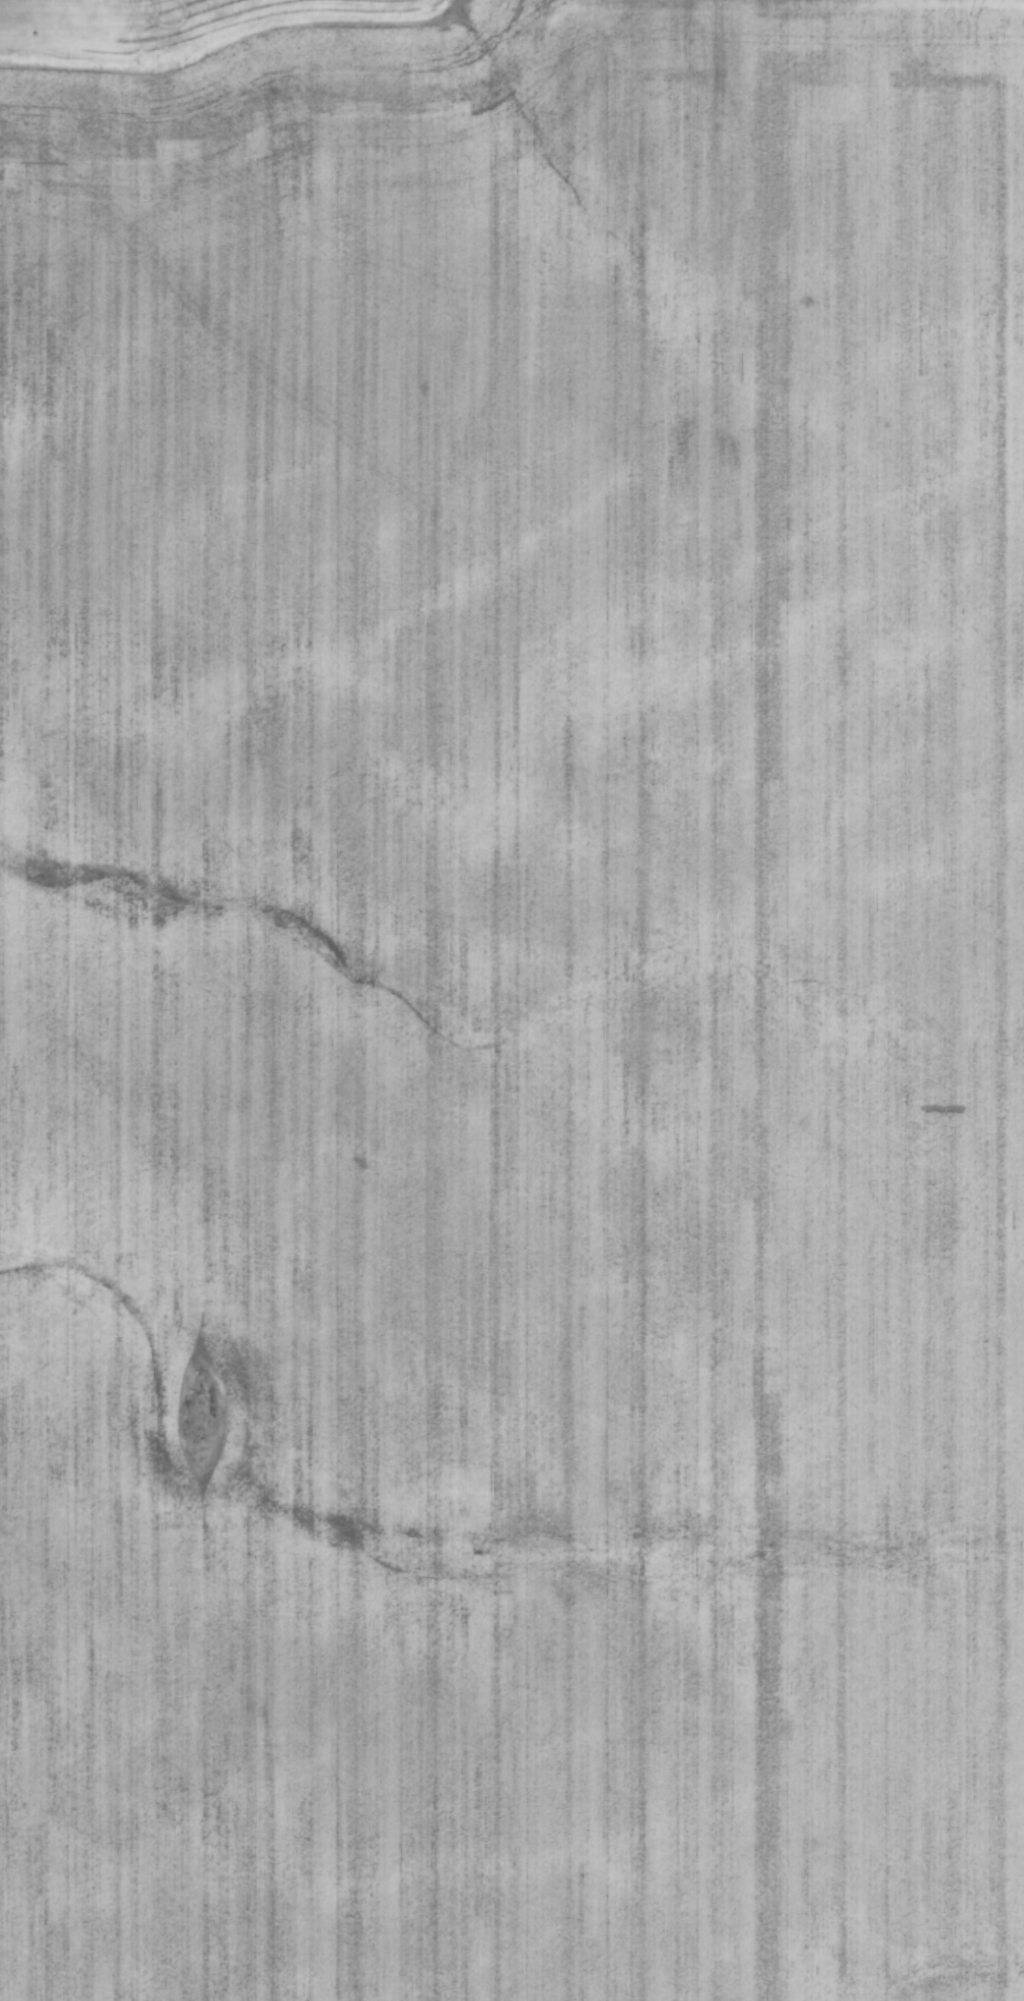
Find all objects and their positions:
building: (725, 1454)

